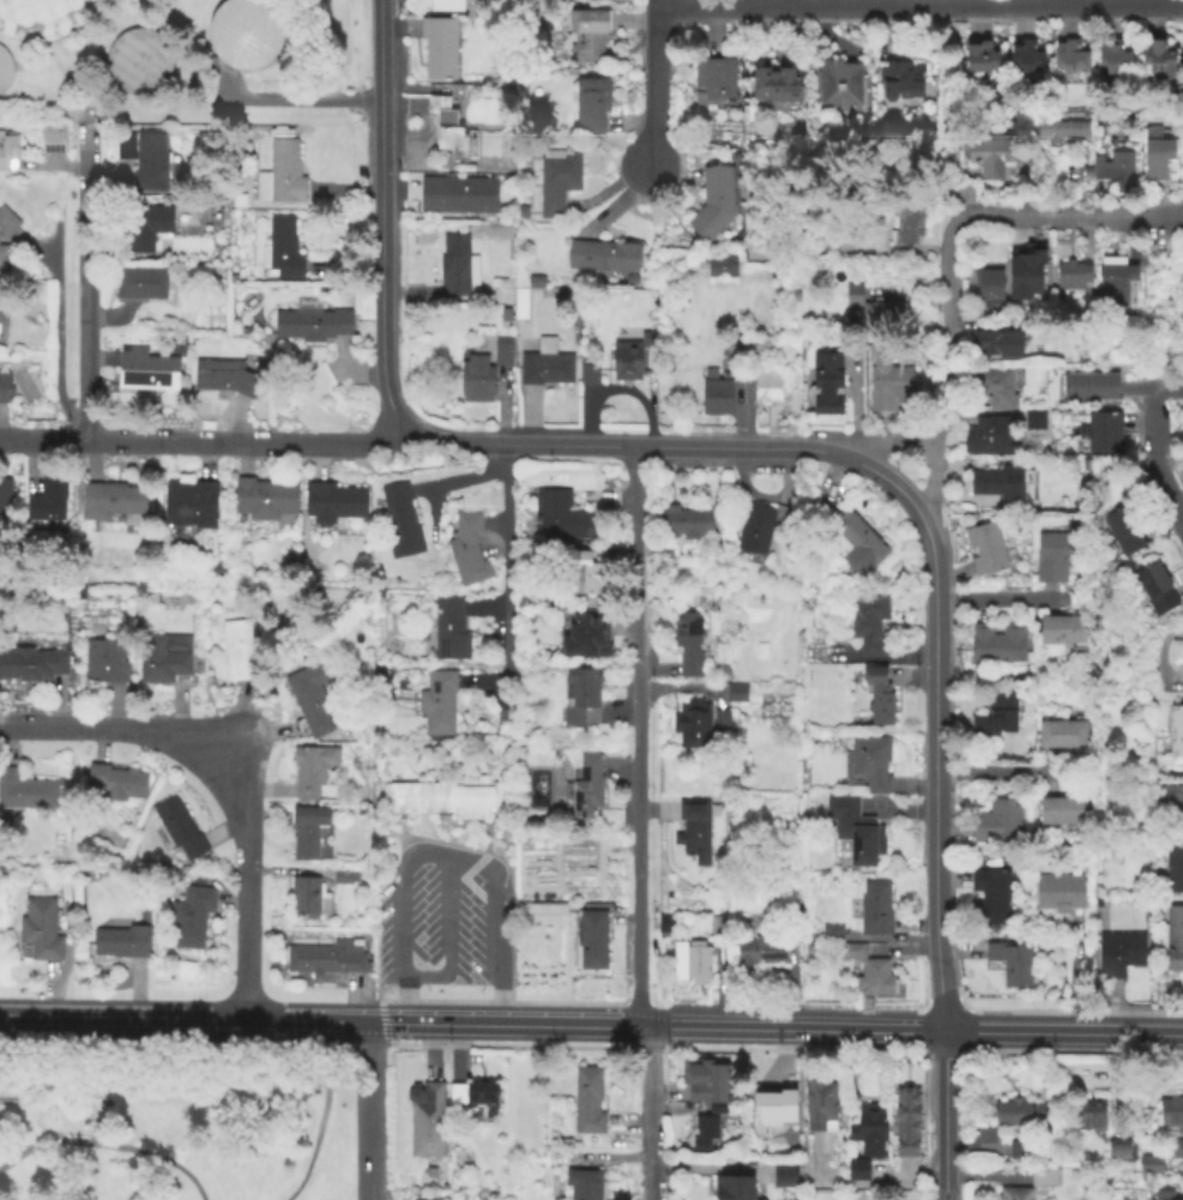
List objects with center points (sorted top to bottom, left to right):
building: (442, 5)
road: (917, 5)
building: (41, 17)
road: (710, 28)
water tower: (246, 30)
building: (246, 31)
building: (586, 34)
building: (439, 49)
building: (137, 58)
water tower: (138, 59)
building: (979, 59)
building: (1069, 59)
building: (1112, 59)
building: (1025, 60)
building: (1159, 60)
building: (4, 67)
building: (899, 82)
building: (713, 83)
road: (650, 84)
building: (838, 84)
building: (774, 88)
road: (292, 101)
building: (591, 108)
building: (1060, 132)
building: (451, 135)
building: (52, 140)
building: (7, 152)
building: (1157, 157)
building: (990, 159)
building: (141, 162)
building: (1113, 170)
building: (1086, 175)
building: (280, 177)
building: (556, 183)
building: (455, 197)
building: (241, 199)
building: (713, 203)
road: (380, 215)
building: (521, 215)
road: (1175, 215)
road: (1060, 216)
building: (6, 224)
building: (906, 224)
building: (144, 228)
building: (280, 251)
building: (600, 259)
building: (4, 261)
building: (452, 267)
building: (722, 267)
building: (1025, 273)
building: (1073, 276)
road: (84, 282)
building: (1113, 282)
building: (536, 283)
building: (139, 284)
building: (501, 287)
building: (988, 288)
road: (1167, 297)
building: (519, 304)
building: (875, 313)
building: (503, 316)
building: (309, 324)
building: (1028, 325)
building: (2, 326)
road: (58, 339)
building: (995, 345)
building: (501, 352)
building: (732, 356)
building: (626, 362)
building: (544, 366)
building: (145, 372)
building: (589, 376)
building: (762, 378)
road: (947, 378)
building: (224, 380)
building: (475, 381)
building: (826, 385)
building: (887, 386)
building: (995, 387)
building: (1090, 387)
building: (4, 390)
road: (1153, 390)
building: (714, 396)
road: (1155, 415)
building: (1033, 422)
building: (986, 436)
building: (1100, 436)
road: (203, 440)
road: (671, 446)
road: (930, 477)
road: (465, 480)
building: (1000, 486)
road: (1165, 489)
building: (5, 500)
building: (47, 500)
building: (110, 501)
building: (265, 501)
building: (333, 505)
building: (188, 507)
building: (561, 518)
building: (399, 523)
building: (683, 523)
building: (759, 527)
building: (1123, 532)
building: (850, 538)
building: (985, 550)
building: (466, 551)
building: (669, 551)
building: (1055, 557)
building: (579, 574)
road: (506, 580)
building: (1154, 591)
road: (1007, 602)
building: (868, 626)
building: (448, 631)
building: (1063, 634)
building: (584, 638)
building: (688, 644)
building: (998, 646)
building: (236, 651)
building: (1177, 653)
building: (162, 658)
building: (104, 659)
building: (31, 665)
building: (736, 693)
building: (580, 698)
building: (879, 698)
building: (310, 699)
building: (436, 704)
building: (996, 716)
building: (720, 723)
building: (690, 725)
road: (634, 735)
building: (1062, 736)
building: (1176, 736)
building: (870, 764)
building: (312, 770)
road: (935, 773)
road: (1009, 773)
road: (225, 778)
building: (116, 784)
building: (584, 789)
building: (26, 794)
building: (448, 800)
building: (1172, 806)
building: (1062, 814)
building: (998, 825)
building: (177, 831)
building: (693, 831)
building: (306, 832)
building: (856, 834)
road: (416, 851)
building: (1173, 873)
building: (343, 878)
building: (1060, 893)
building: (303, 898)
building: (990, 898)
building: (874, 910)
building: (189, 917)
road: (449, 917)
parking lot: (445, 921)
building: (666, 924)
building: (719, 924)
building: (40, 929)
building: (831, 934)
road: (891, 940)
building: (1172, 940)
building: (591, 941)
building: (120, 943)
road: (955, 946)
building: (811, 948)
building: (850, 952)
road: (903, 952)
building: (1118, 955)
building: (324, 959)
building: (756, 959)
building: (688, 963)
building: (1010, 963)
road: (1073, 975)
building: (865, 981)
building: (882, 981)
road: (404, 1000)
road: (505, 1001)
road: (633, 1001)
road: (864, 1017)
road: (185, 1018)
road: (386, 1019)
road: (507, 1023)
road: (793, 1027)
road: (1062, 1030)
road: (175, 1035)
road: (372, 1038)
road: (512, 1041)
road: (639, 1044)
building: (706, 1080)
road: (325, 1085)
building: (472, 1098)
building: (820, 1100)
building: (585, 1102)
building: (774, 1104)
building: (718, 1109)
road: (370, 1110)
road: (647, 1111)
building: (1171, 1111)
road: (946, 1114)
building: (1019, 1114)
building: (1088, 1114)
park: (175, 1120)
building: (427, 1122)
building: (906, 1122)
building: (868, 1130)
building: (702, 1134)
building: (779, 1140)
road: (107, 1145)
road: (12, 1146)
building: (1018, 1150)
building: (1176, 1150)
building: (1117, 1151)
building: (1149, 1163)
building: (857, 1170)
building: (428, 1174)
building: (781, 1176)
building: (1105, 1178)
road: (859, 1183)
building: (583, 1184)
building: (1032, 1184)
building: (442, 1188)
building: (732, 1188)
building: (1163, 1195)

